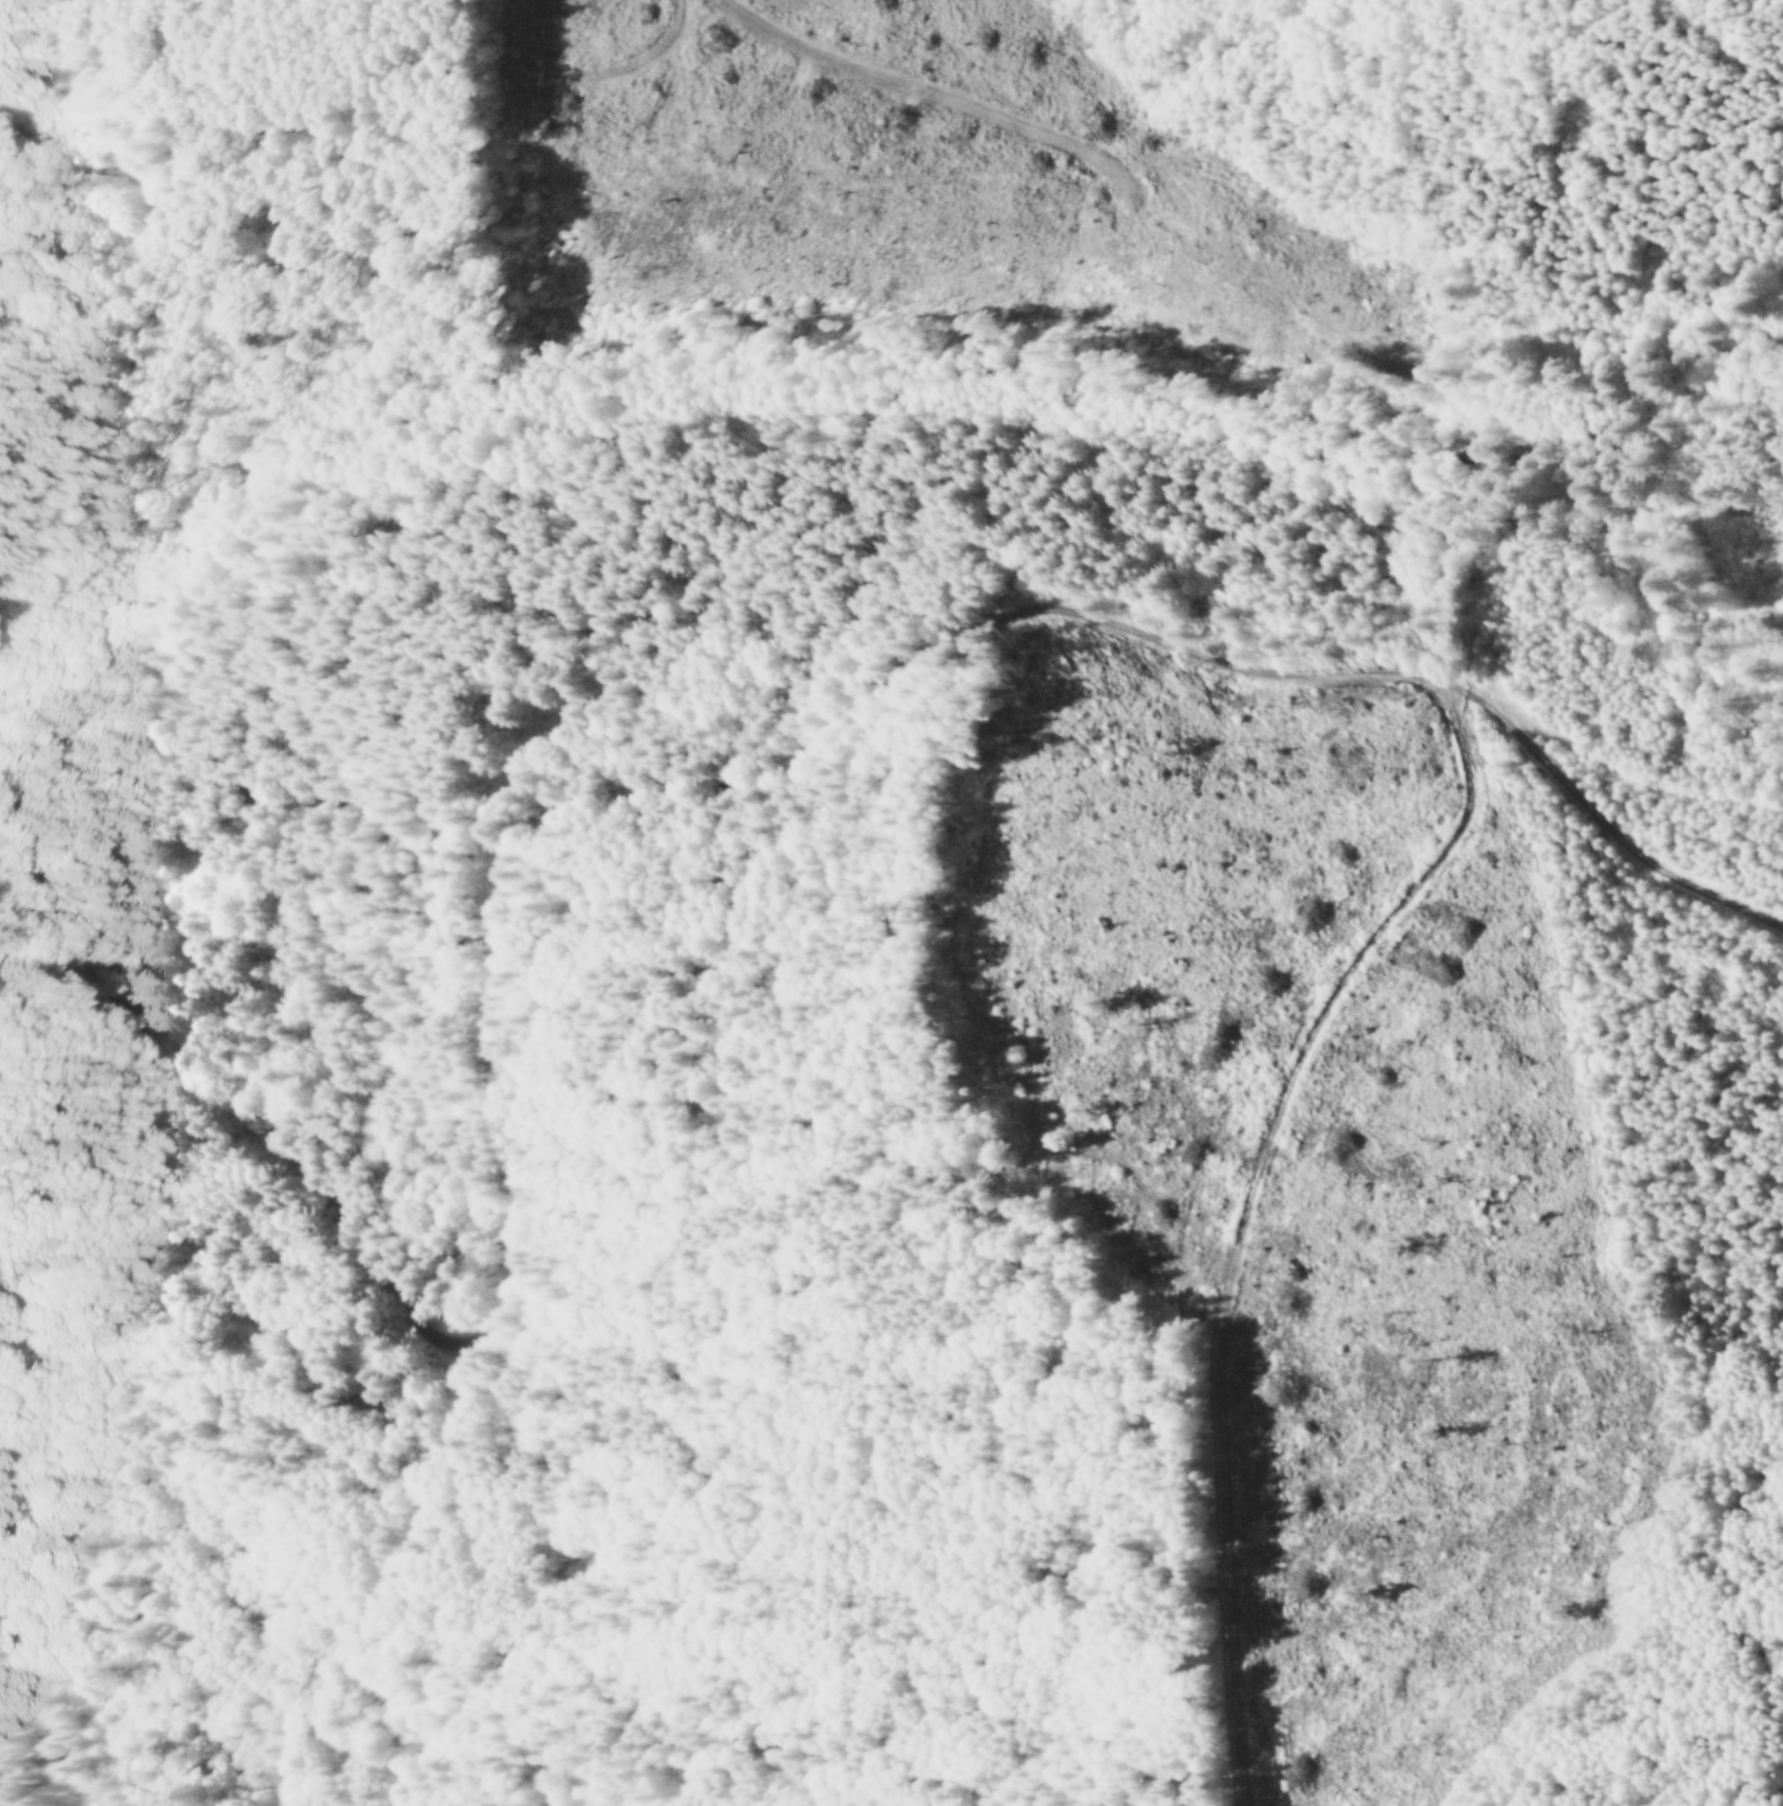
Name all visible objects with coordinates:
road: (574, 60)
road: (852, 75)
road: (1663, 303)
road: (1754, 386)
road: (688, 850)
road: (1767, 882)
road: (1217, 1228)
road: (470, 1438)
road: (115, 1608)

